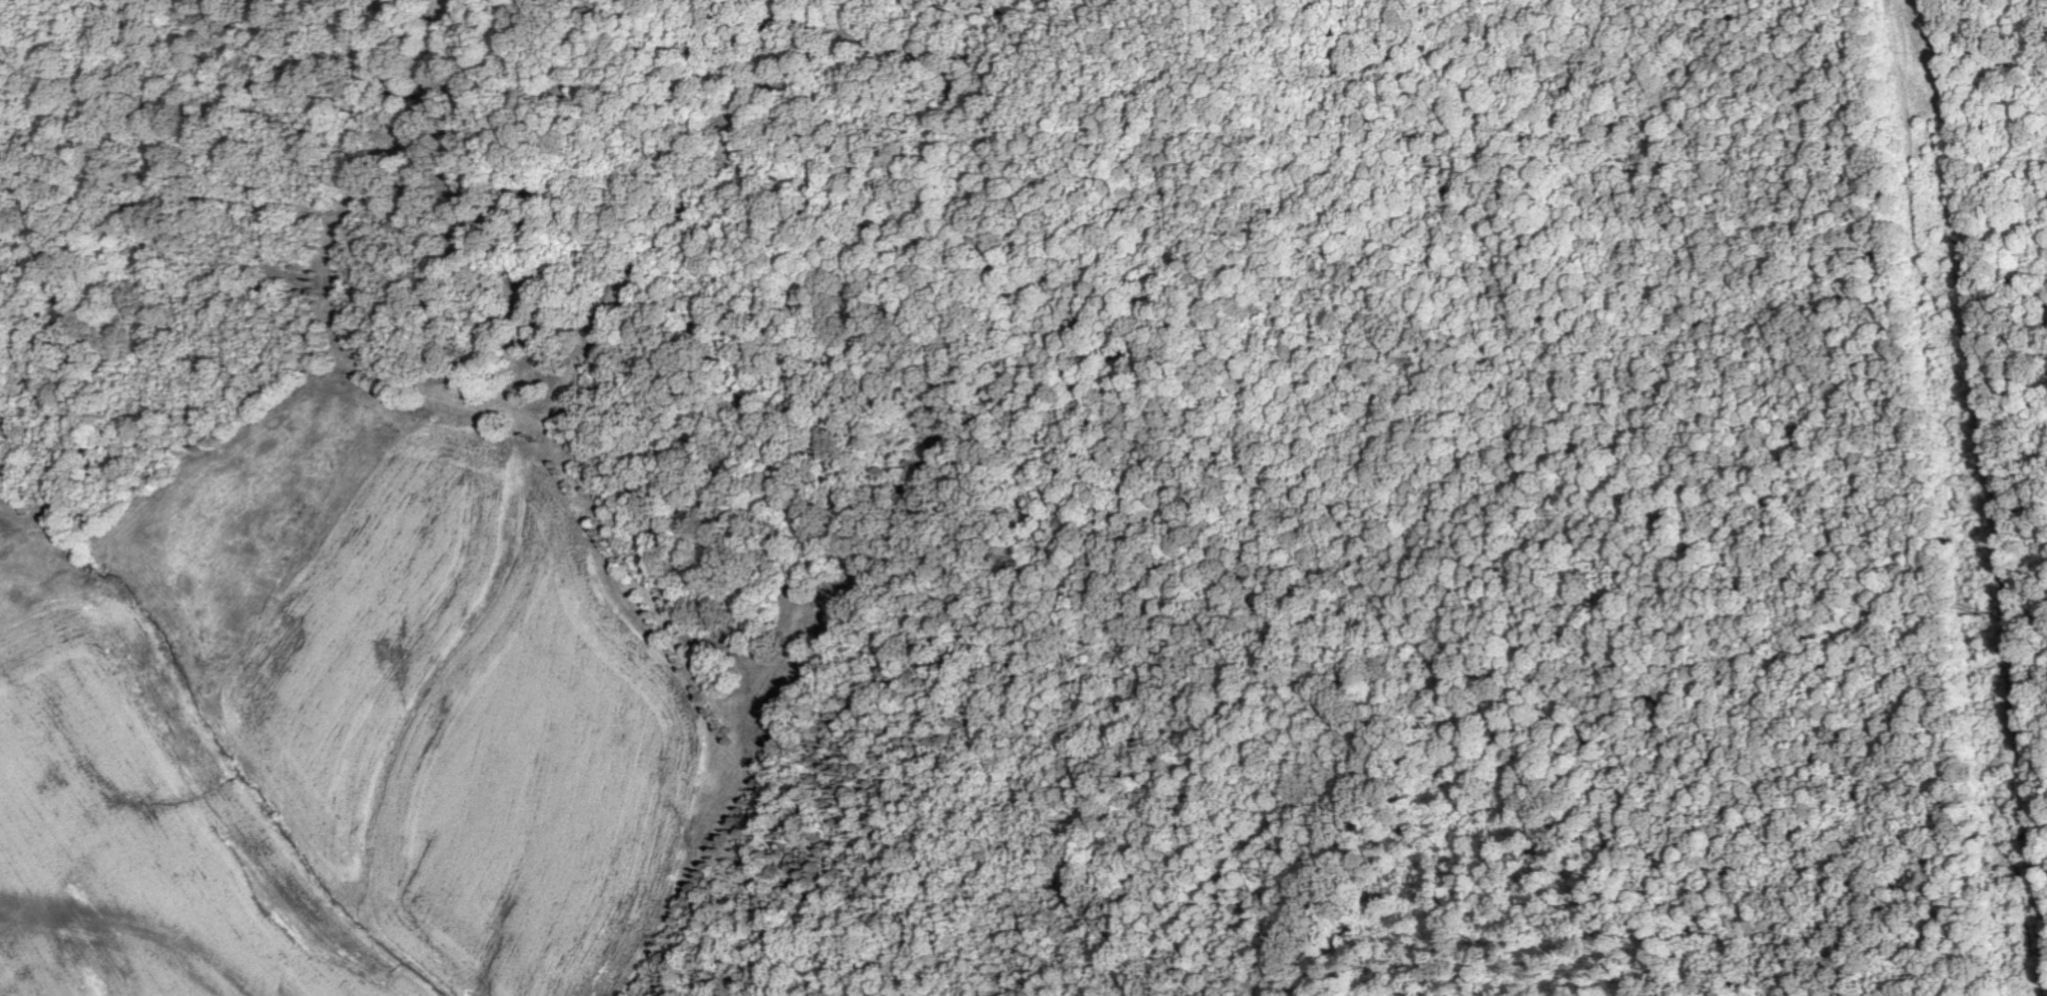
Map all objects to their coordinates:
power tower: (1990, 596)
power tower: (2012, 824)

